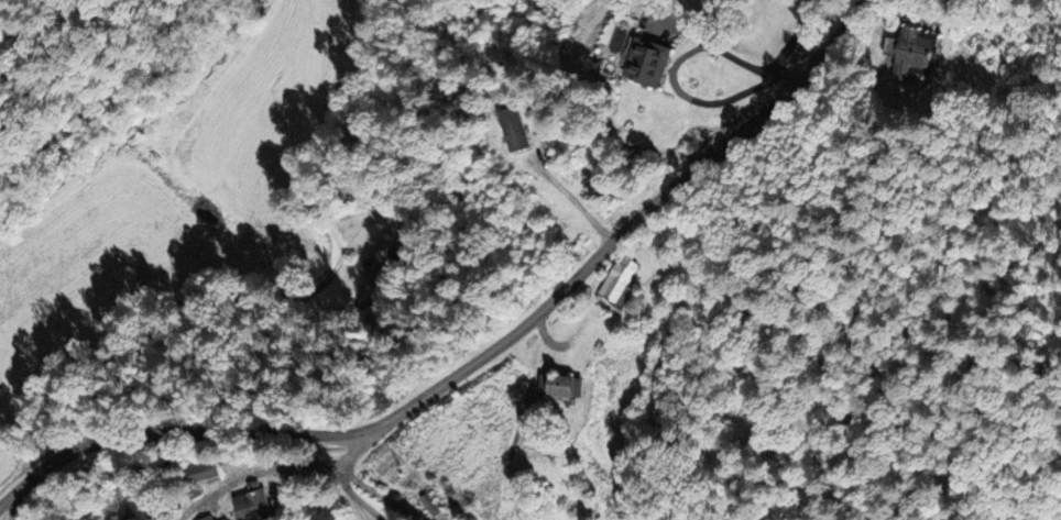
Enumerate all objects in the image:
building: (917, 52)
building: (649, 60)
building: (514, 129)
road: (573, 213)
building: (376, 258)
building: (620, 278)
road: (186, 358)
road: (483, 362)
building: (560, 385)
road: (270, 469)
building: (204, 471)
road: (353, 495)
building: (251, 502)
building: (433, 504)
building: (139, 508)
building: (209, 518)
building: (226, 519)

